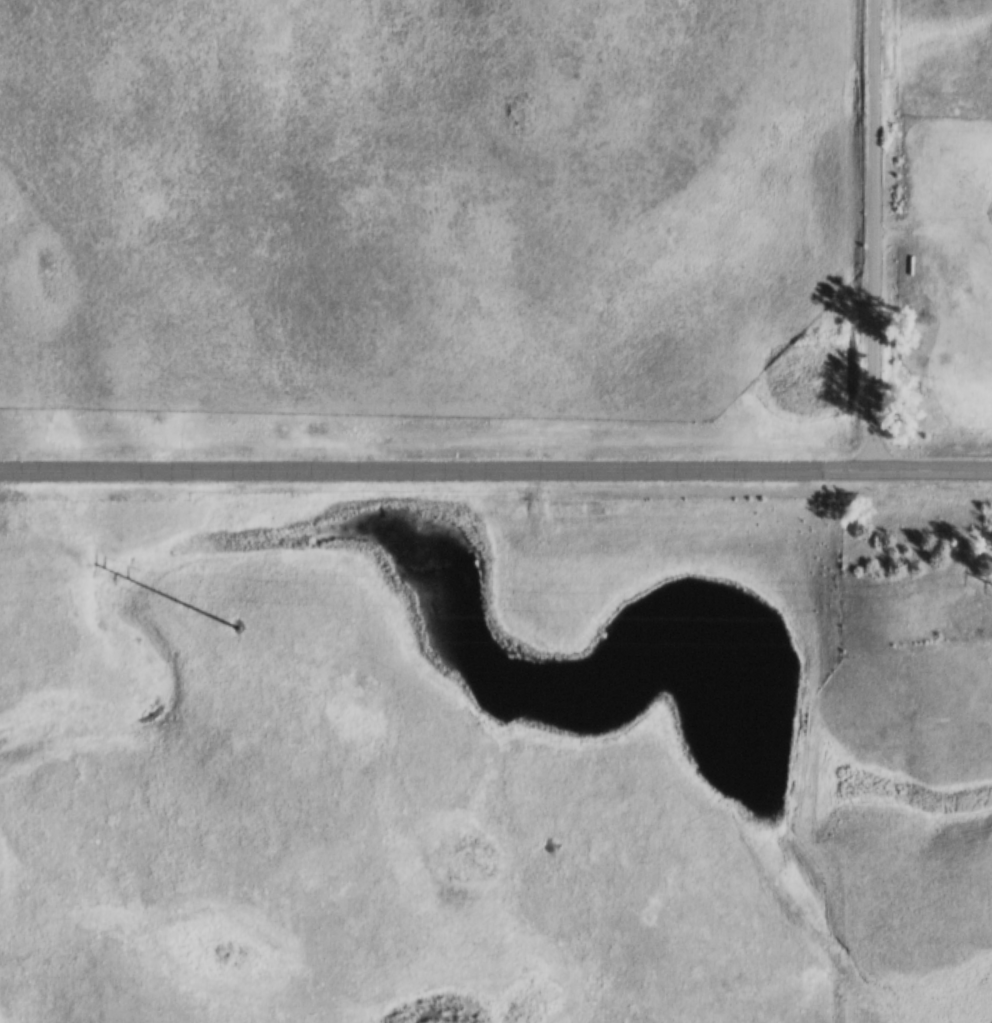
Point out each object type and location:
road: (881, 238)
road: (496, 477)
power tower: (242, 627)
river: (633, 675)

